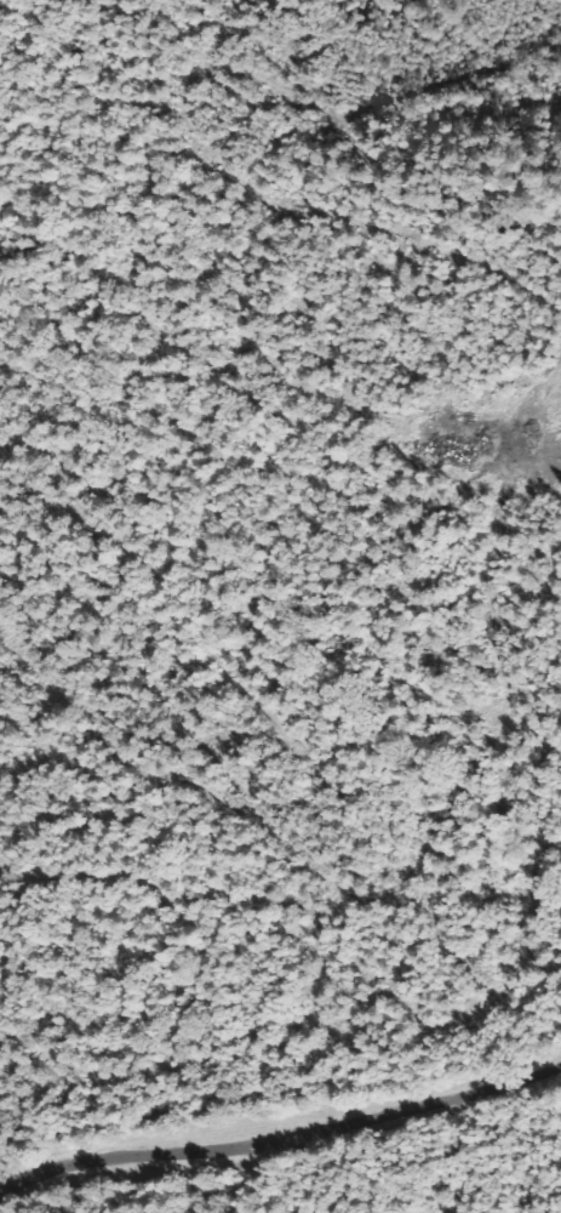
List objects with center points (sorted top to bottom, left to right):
road: (280, 1140)

